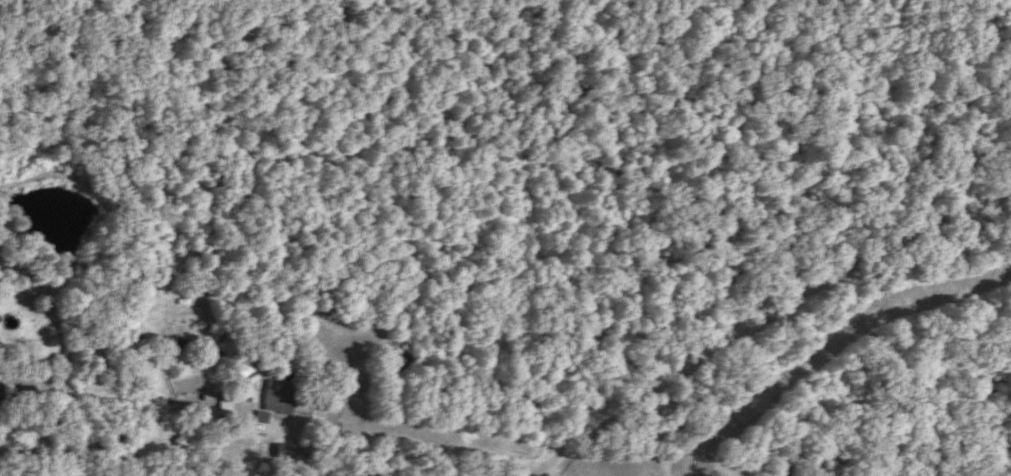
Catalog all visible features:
building: (329, 305)
road: (761, 316)
road: (779, 371)
building: (278, 397)
building: (190, 427)
road: (452, 449)
building: (288, 451)

